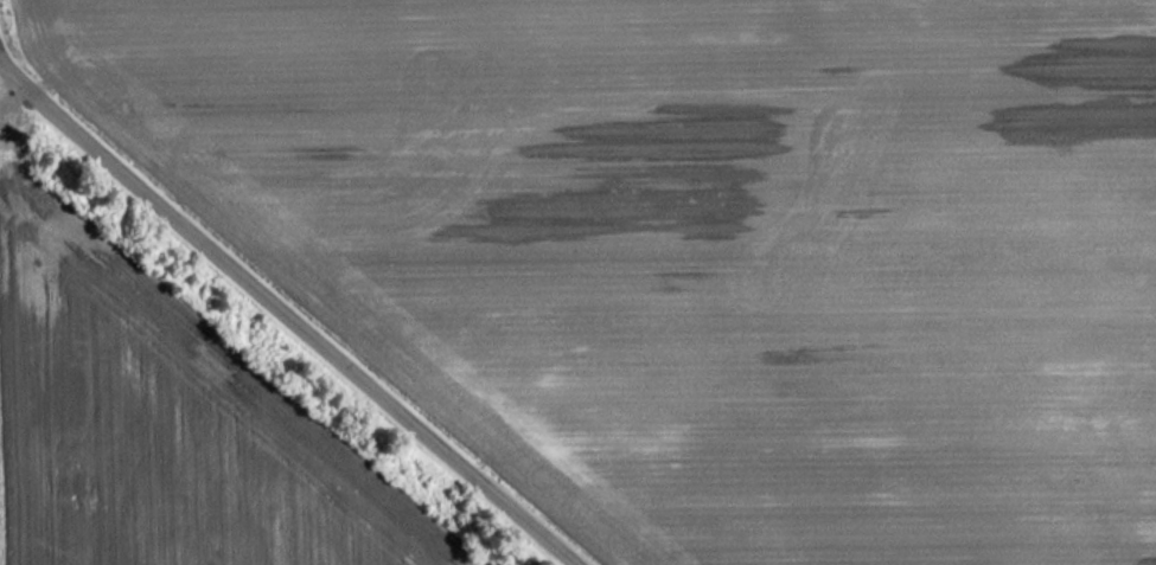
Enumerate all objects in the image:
crop: (711, 246)
road: (287, 314)
railway: (247, 351)
crop: (15, 379)
crop: (171, 443)

